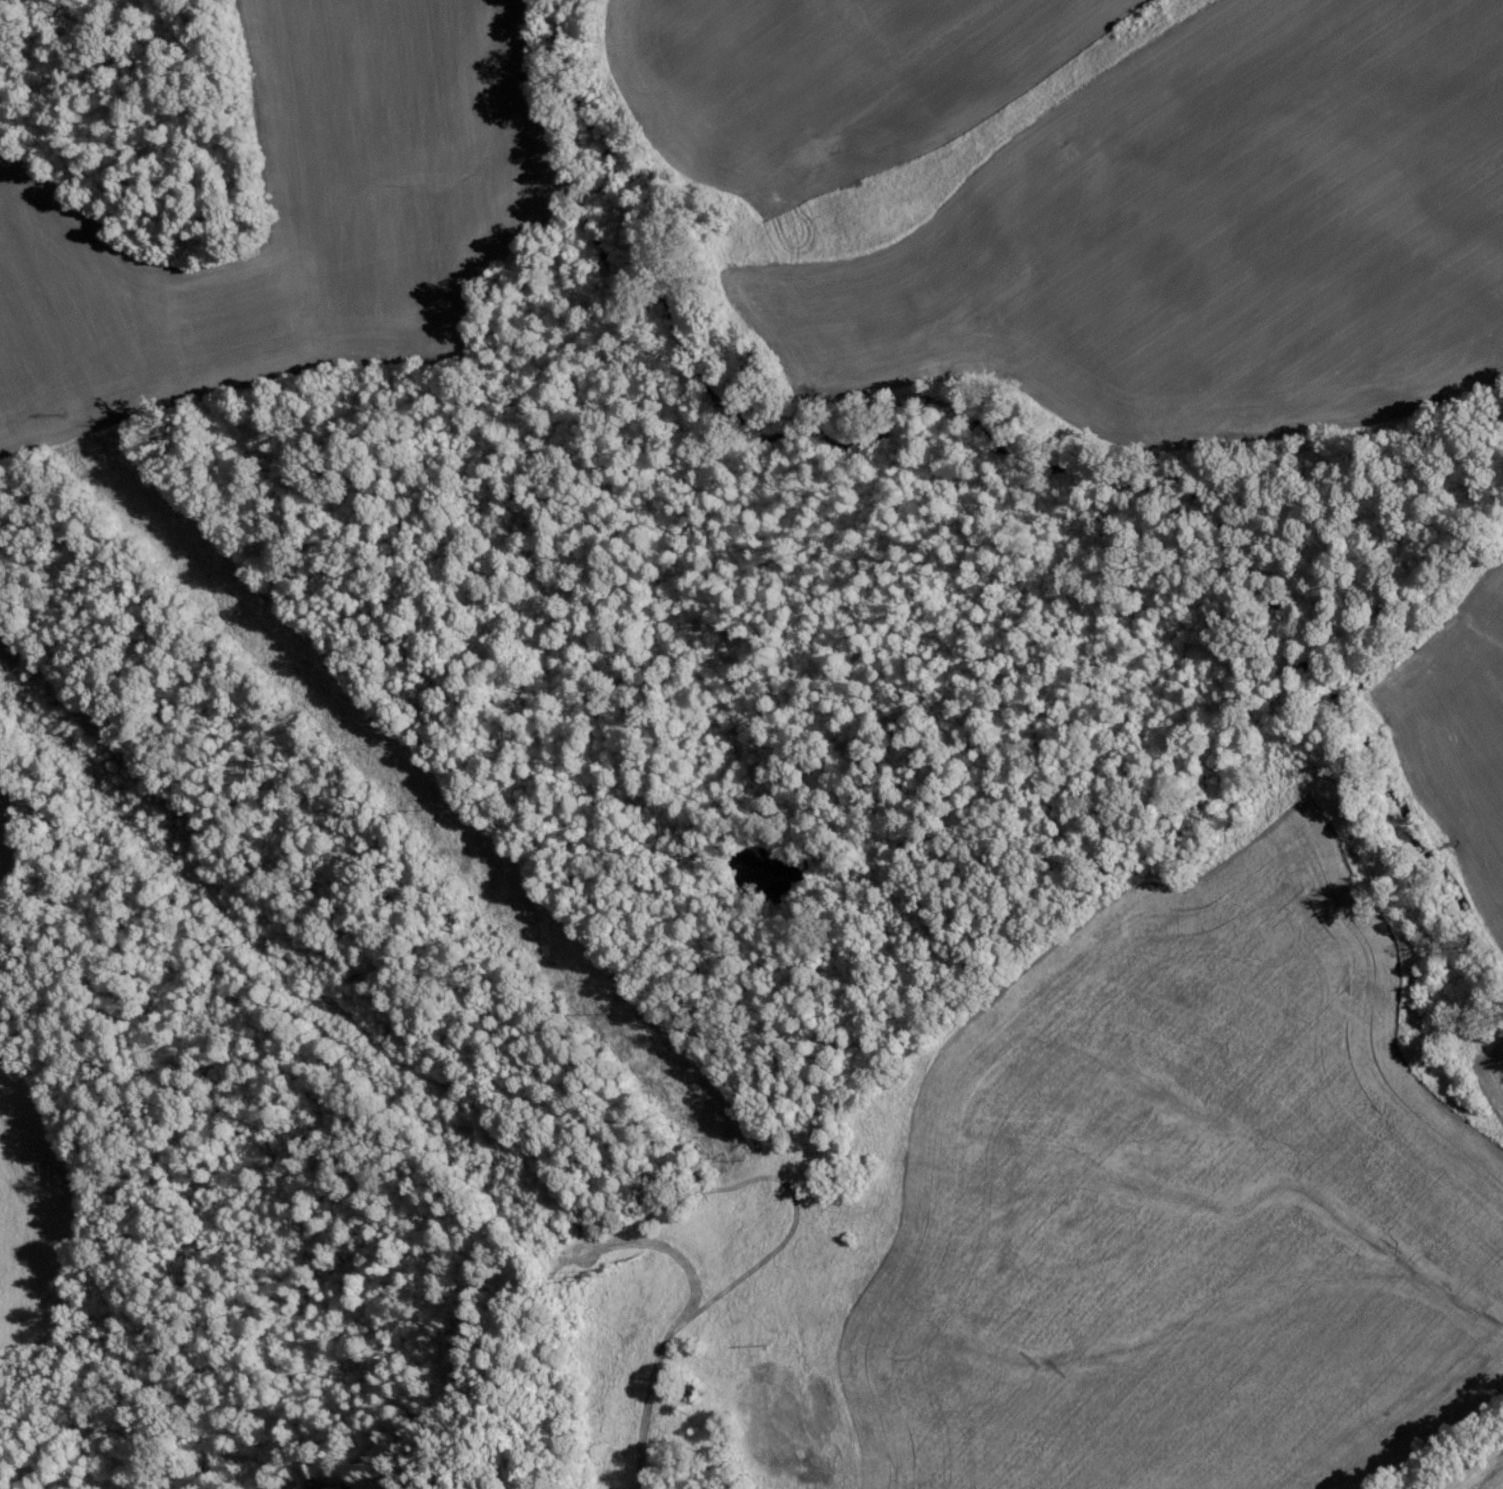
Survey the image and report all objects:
power tower: (604, 1267)
road: (468, 1414)

